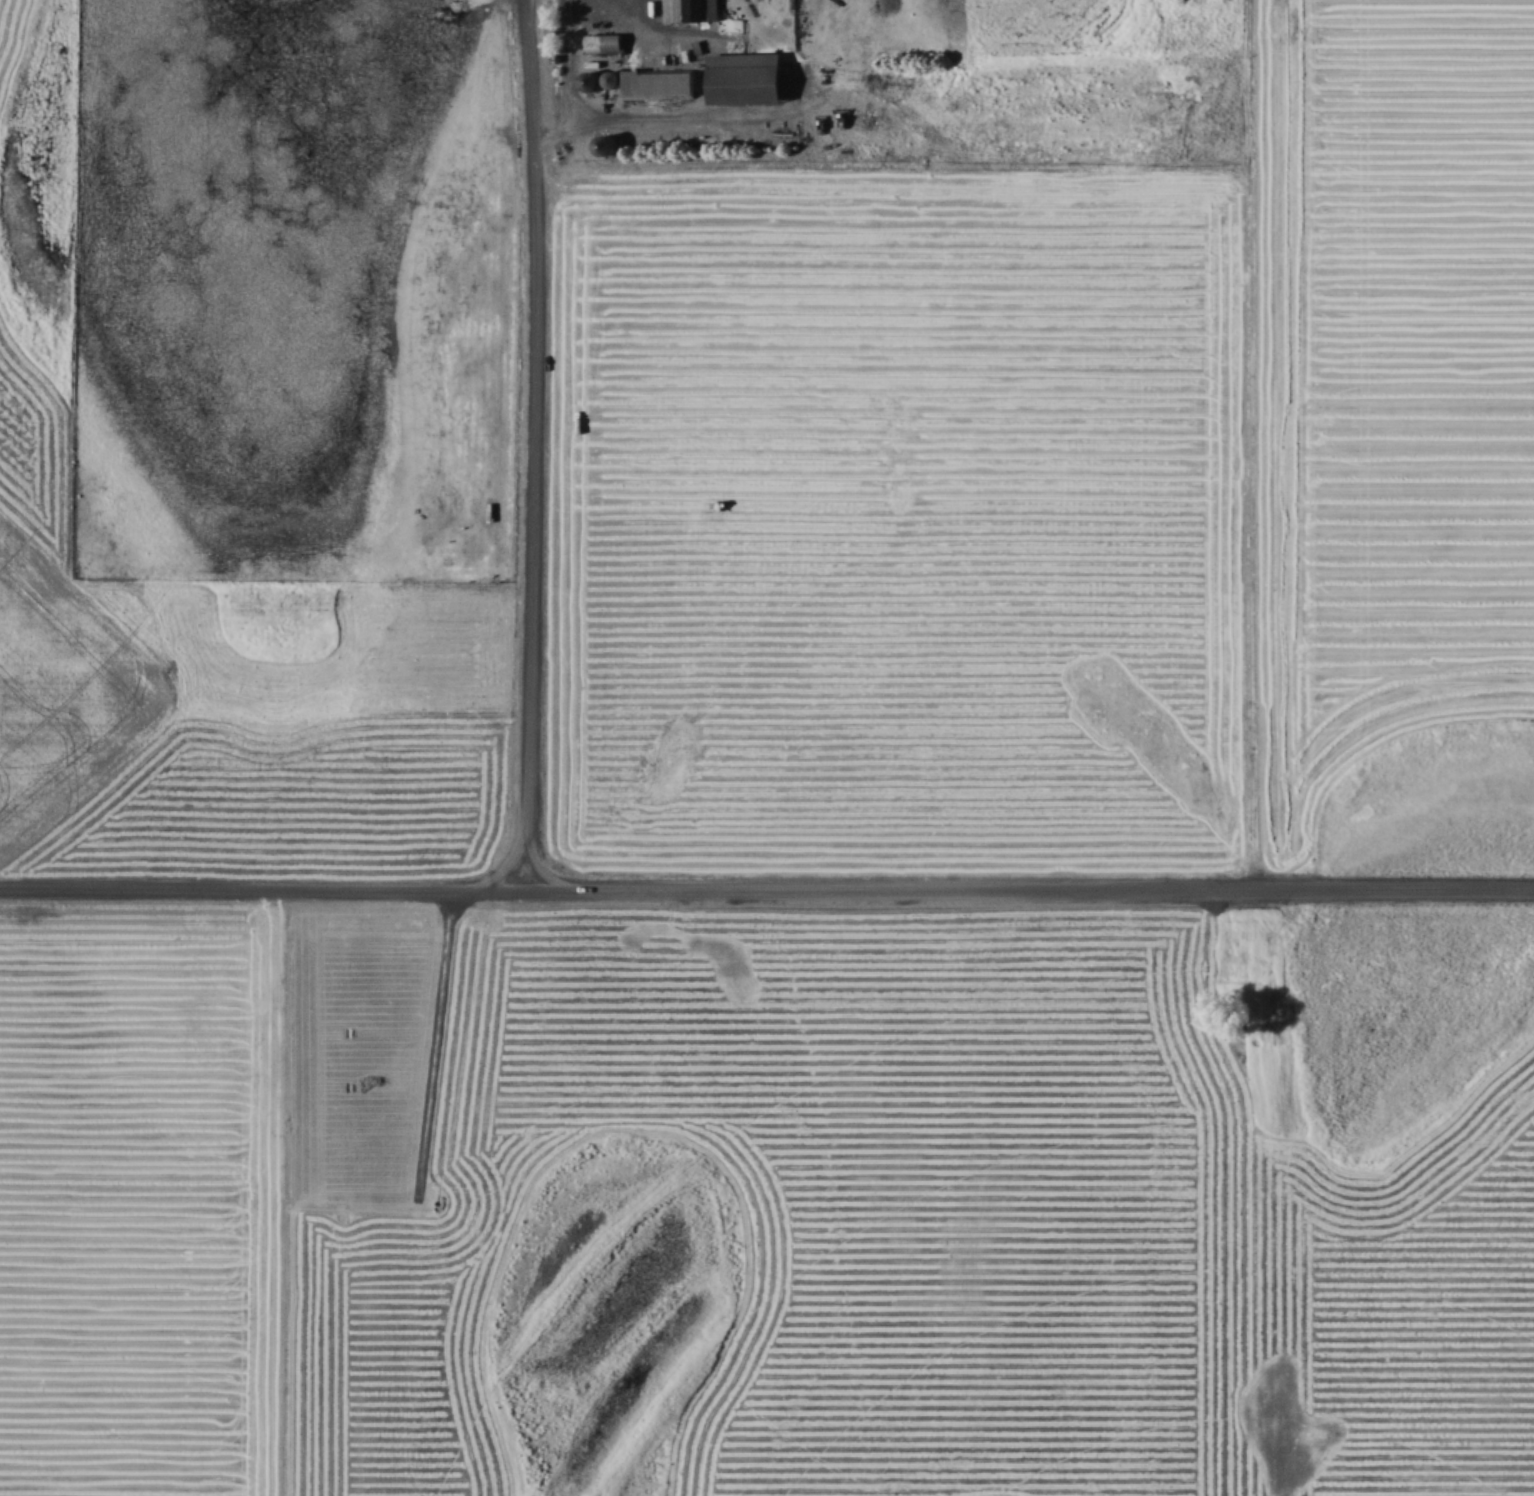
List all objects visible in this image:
building: (692, 10)
building: (606, 42)
building: (592, 78)
building: (613, 78)
building: (749, 78)
building: (660, 83)
building: (607, 144)
road: (527, 442)
road: (766, 884)

